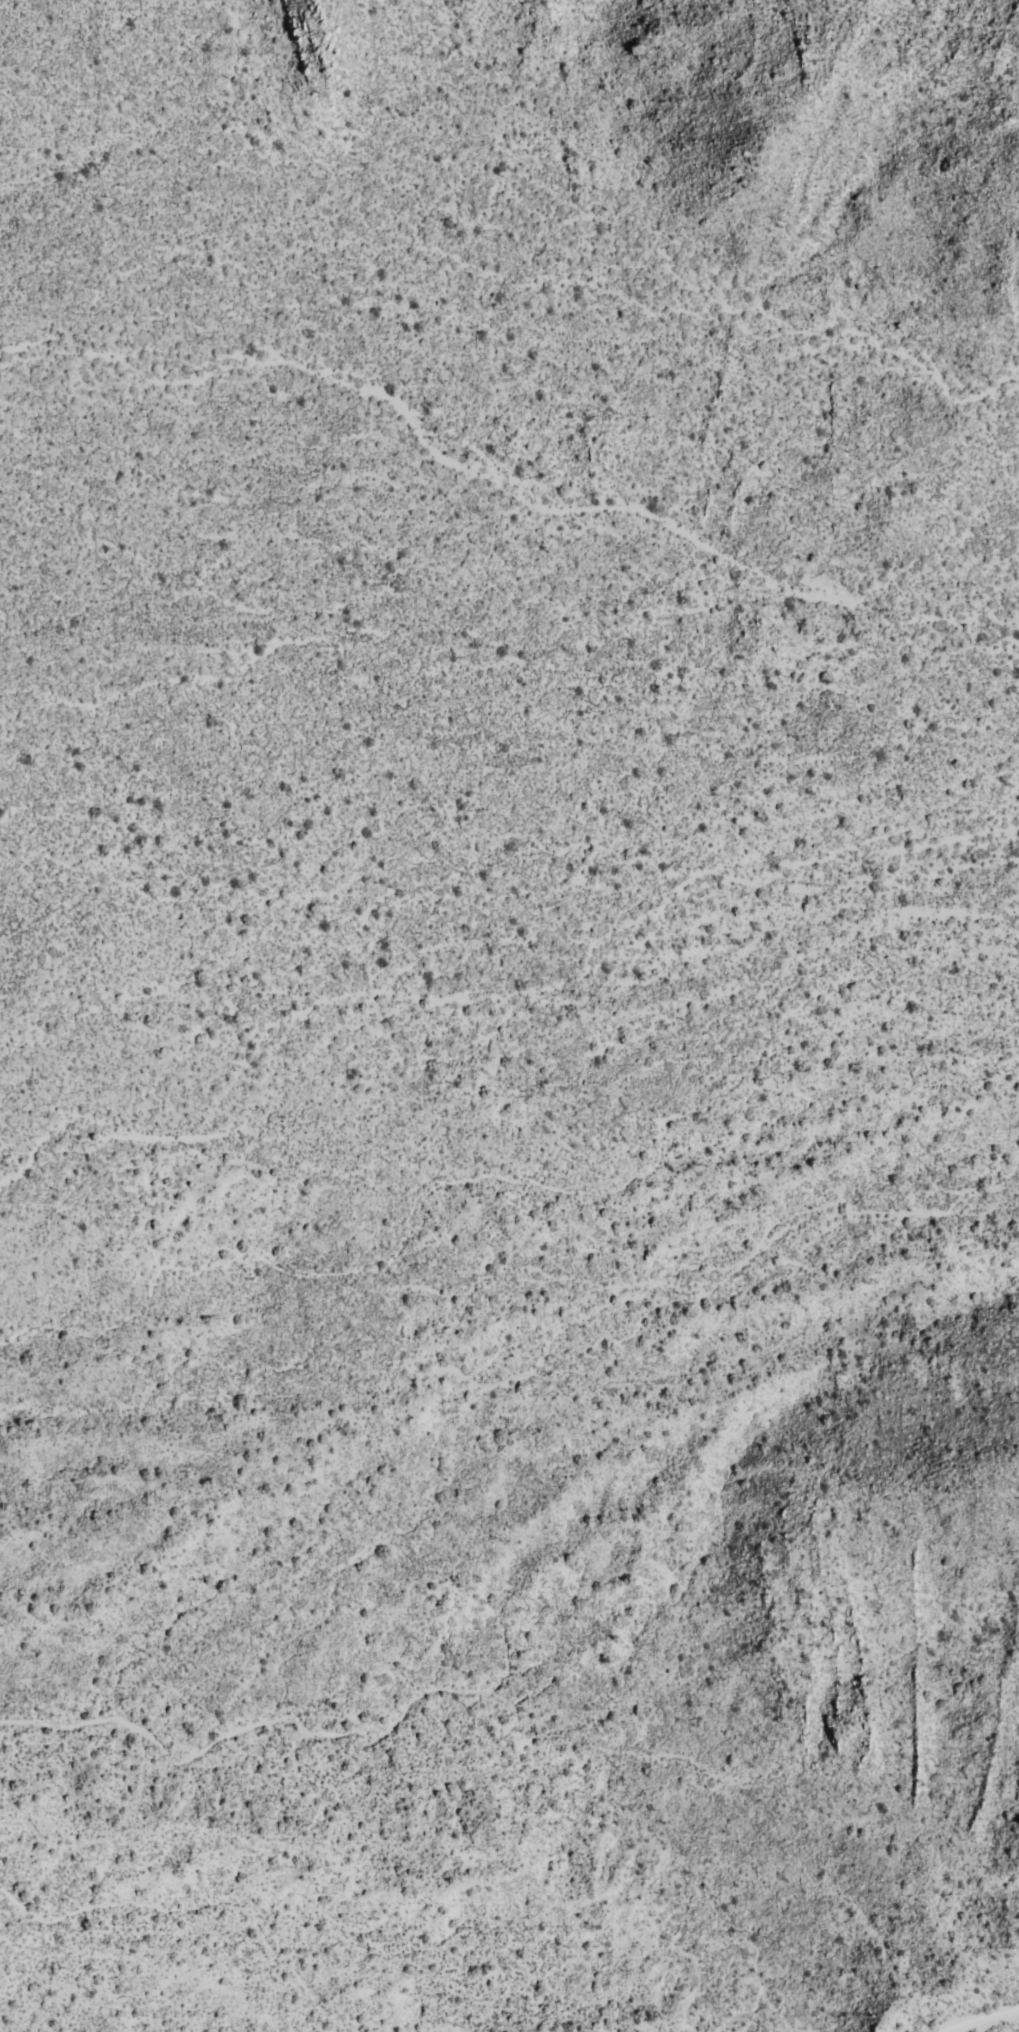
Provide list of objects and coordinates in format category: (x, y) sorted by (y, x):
road: (978, 2021)

